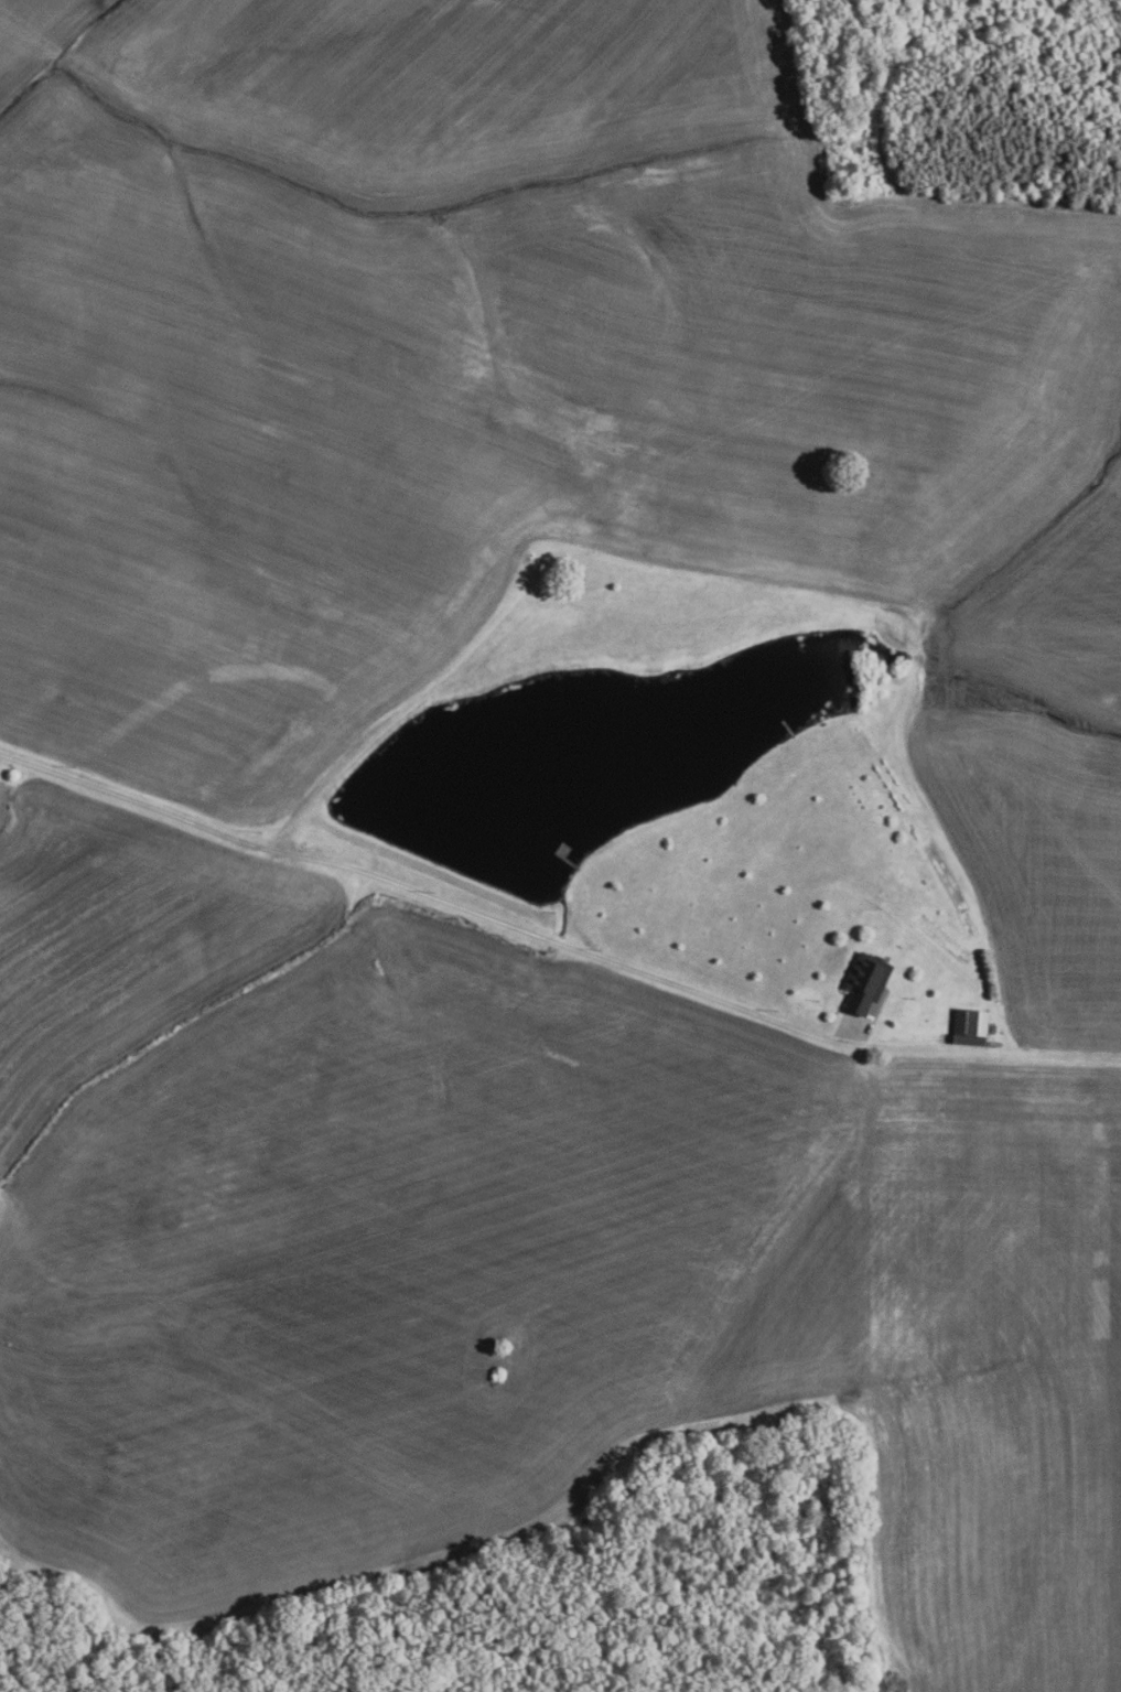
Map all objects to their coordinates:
road: (436, 898)
building: (866, 981)
building: (968, 1027)
road: (995, 1055)

